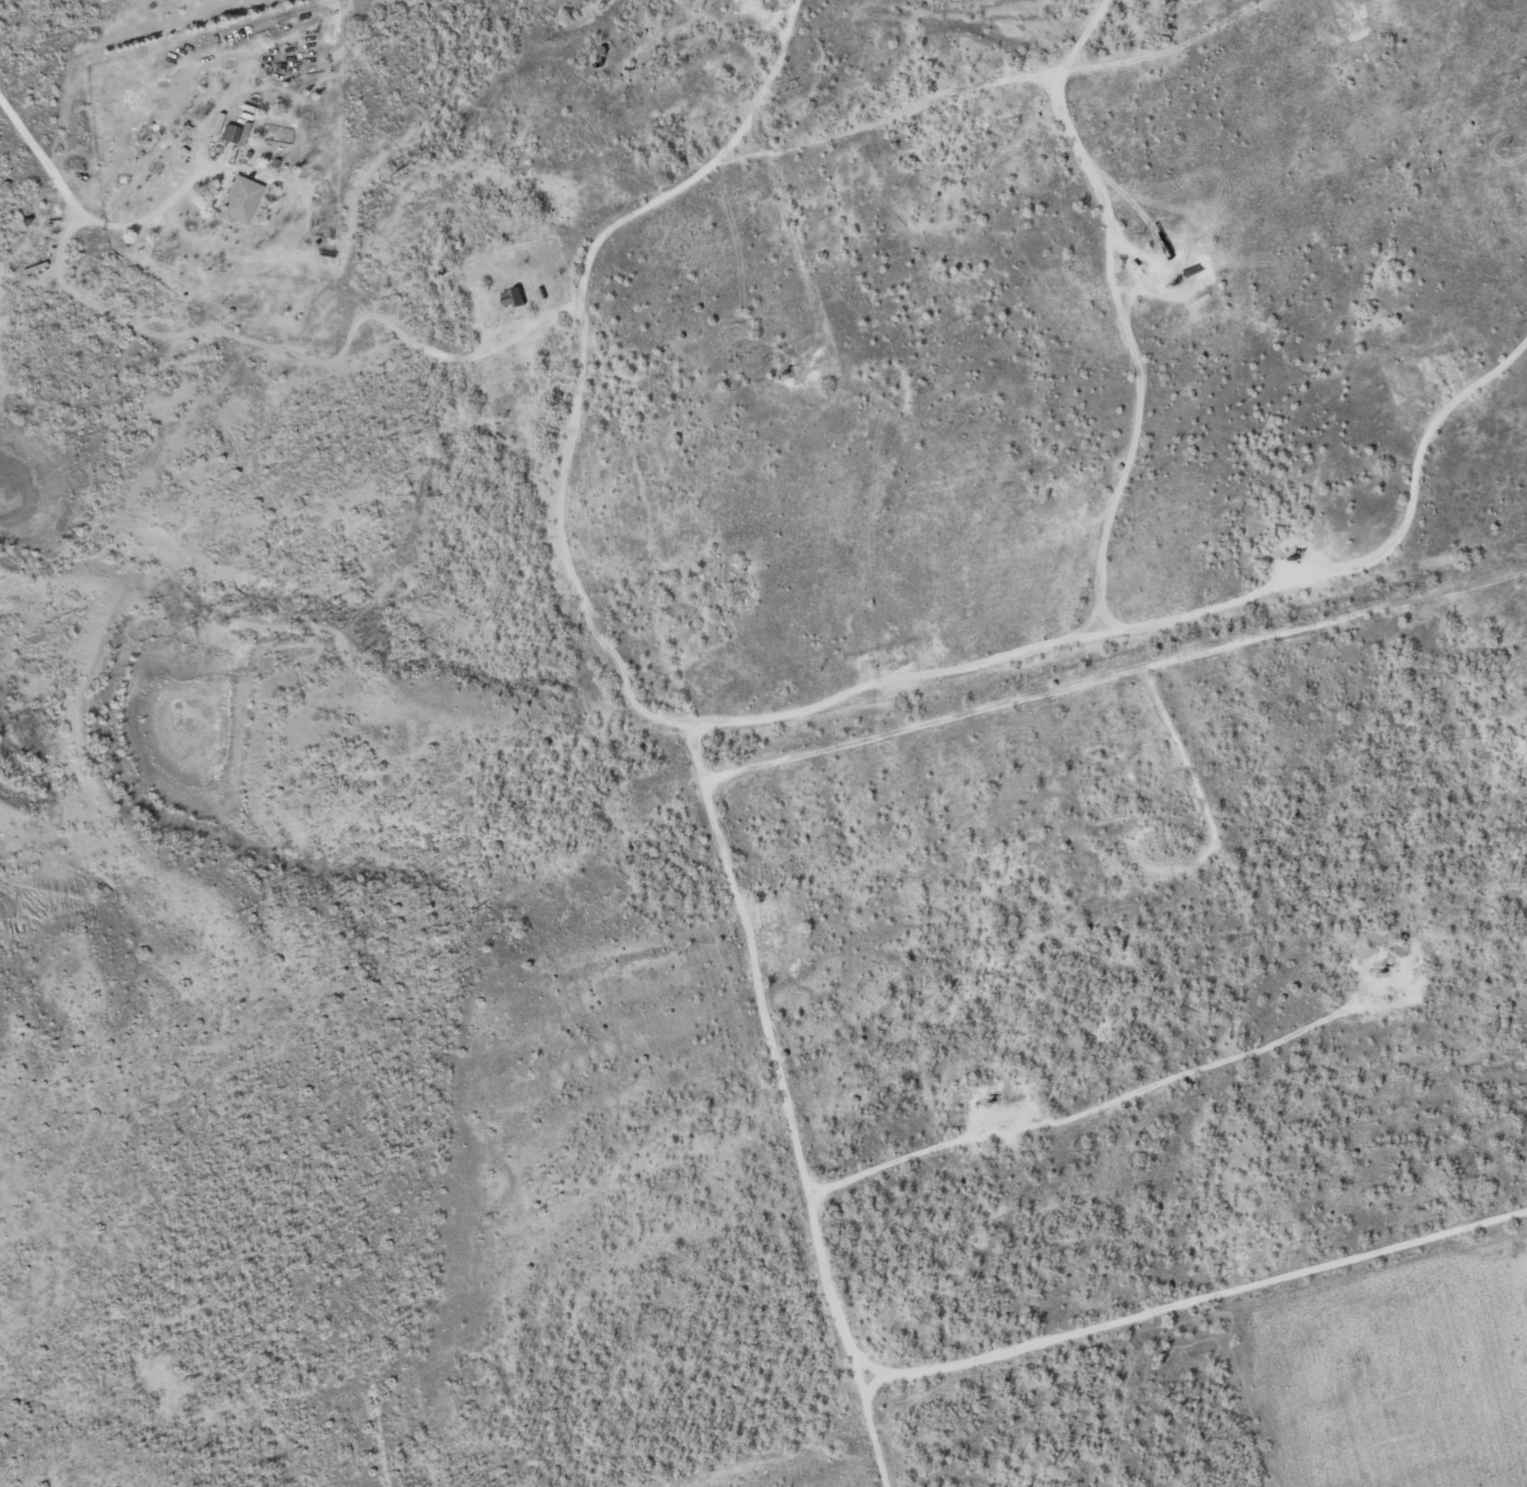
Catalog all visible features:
building: (231, 133)
building: (240, 201)
road: (77, 208)
building: (517, 299)
road: (210, 681)

